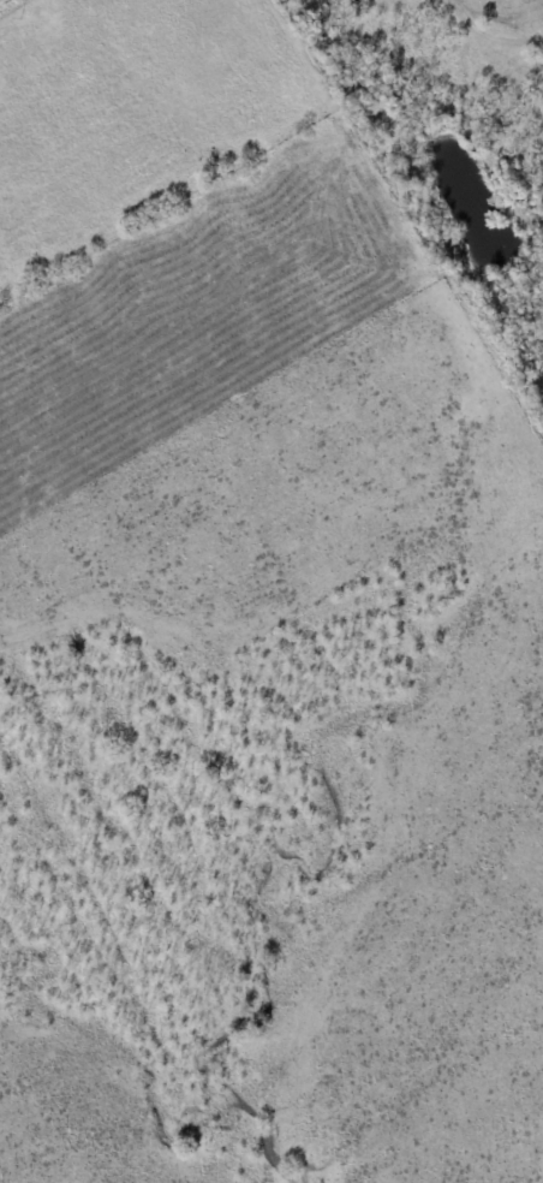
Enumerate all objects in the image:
road: (96, 76)

